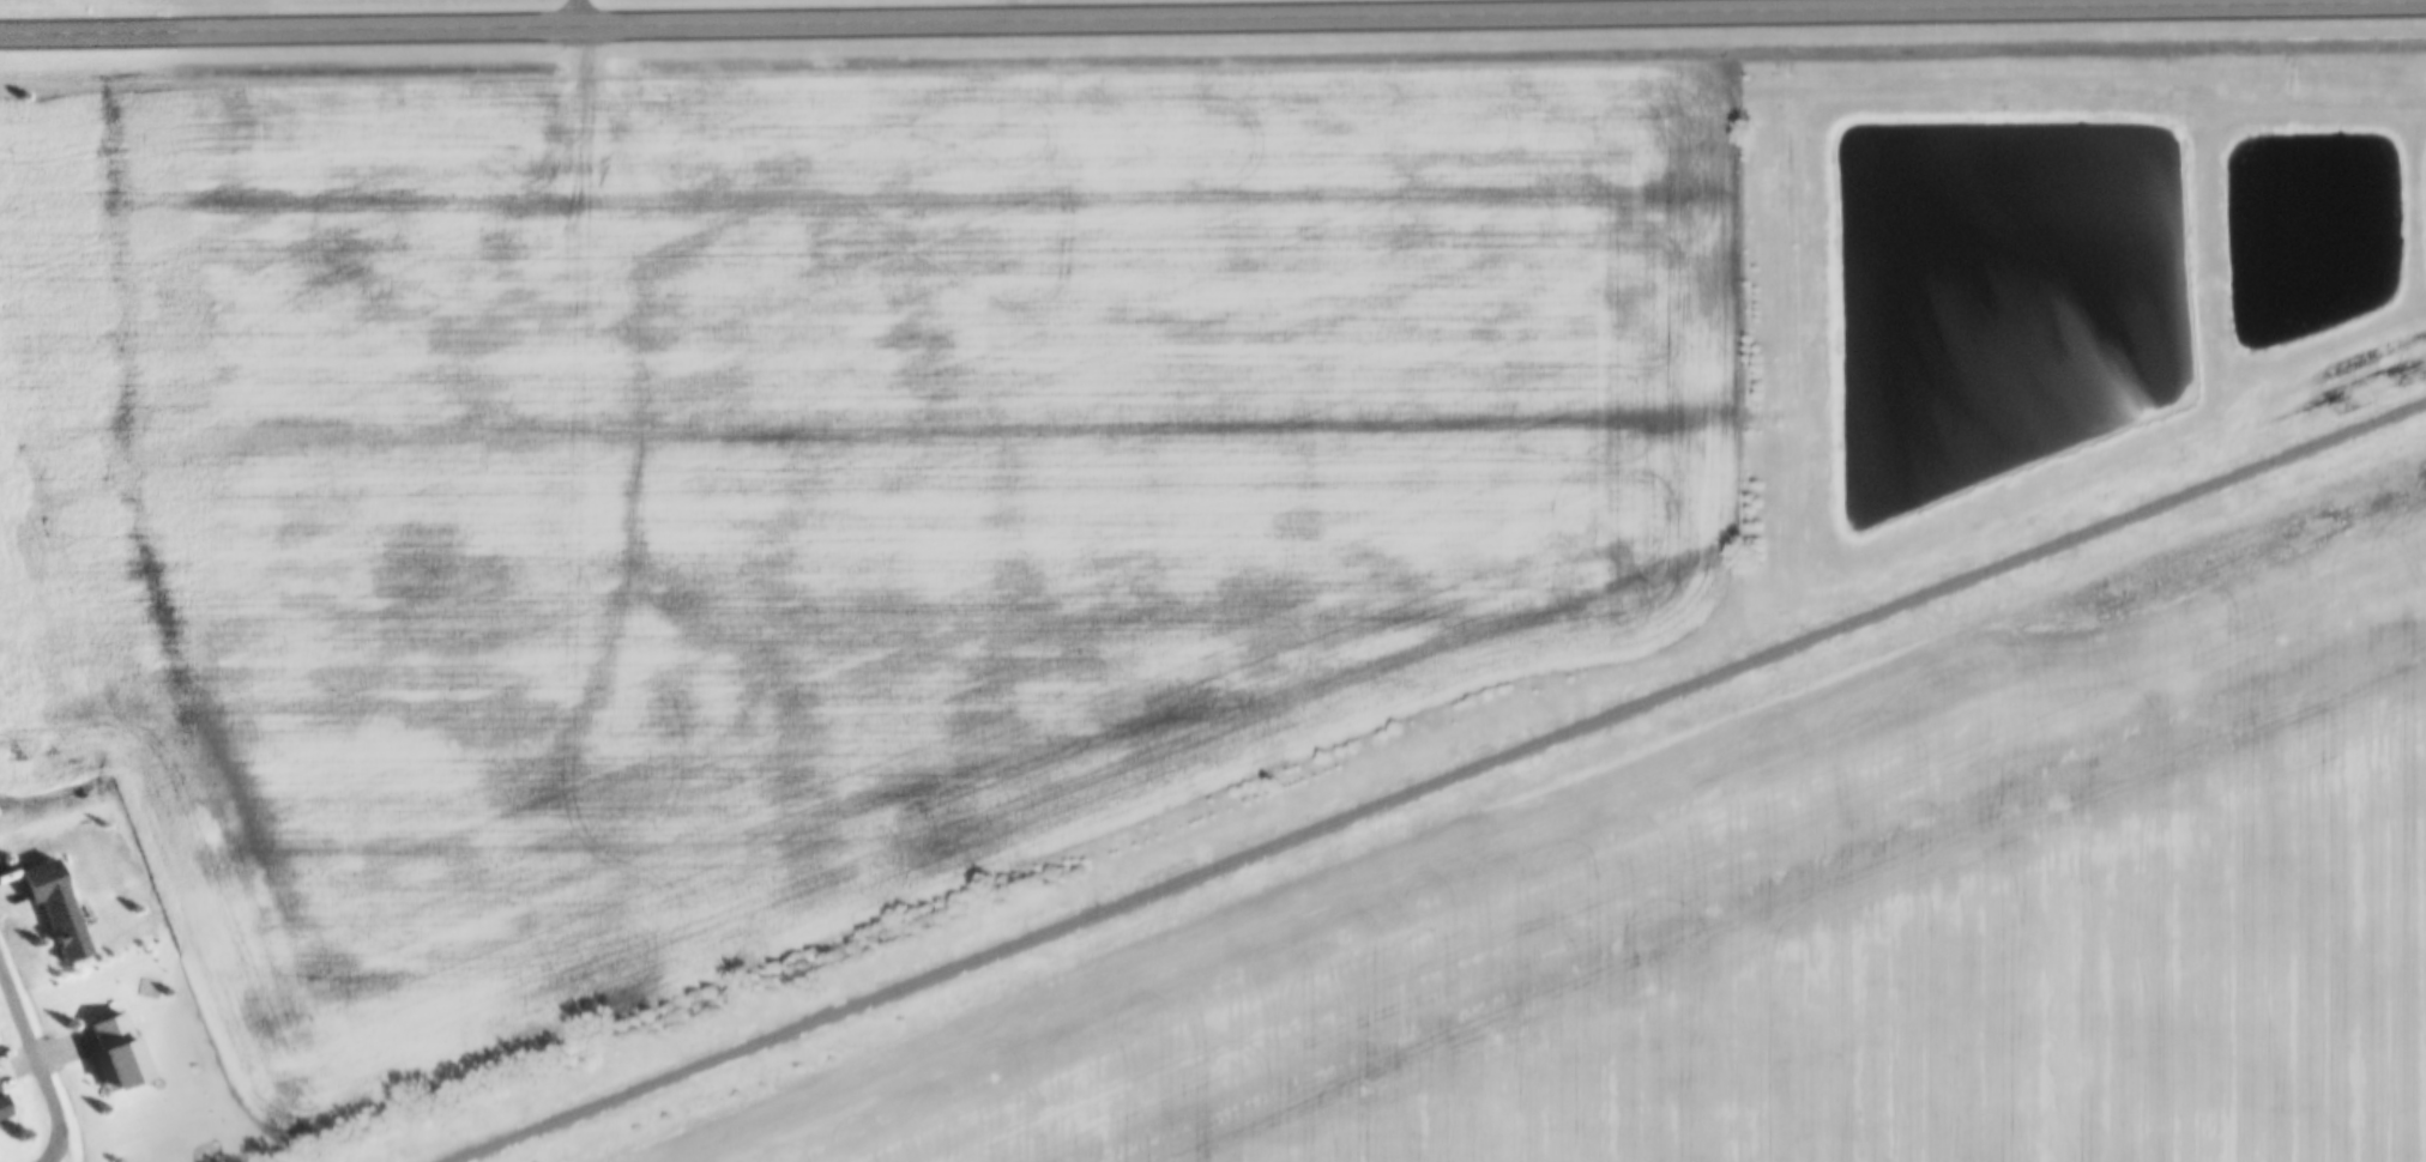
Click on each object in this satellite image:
road: (1012, 10)
road: (586, 12)
road: (1213, 17)
crop: (799, 491)
railway: (1438, 782)
crop: (1812, 924)
road: (37, 1051)
building: (114, 1054)
building: (1, 1110)
road: (59, 1155)

